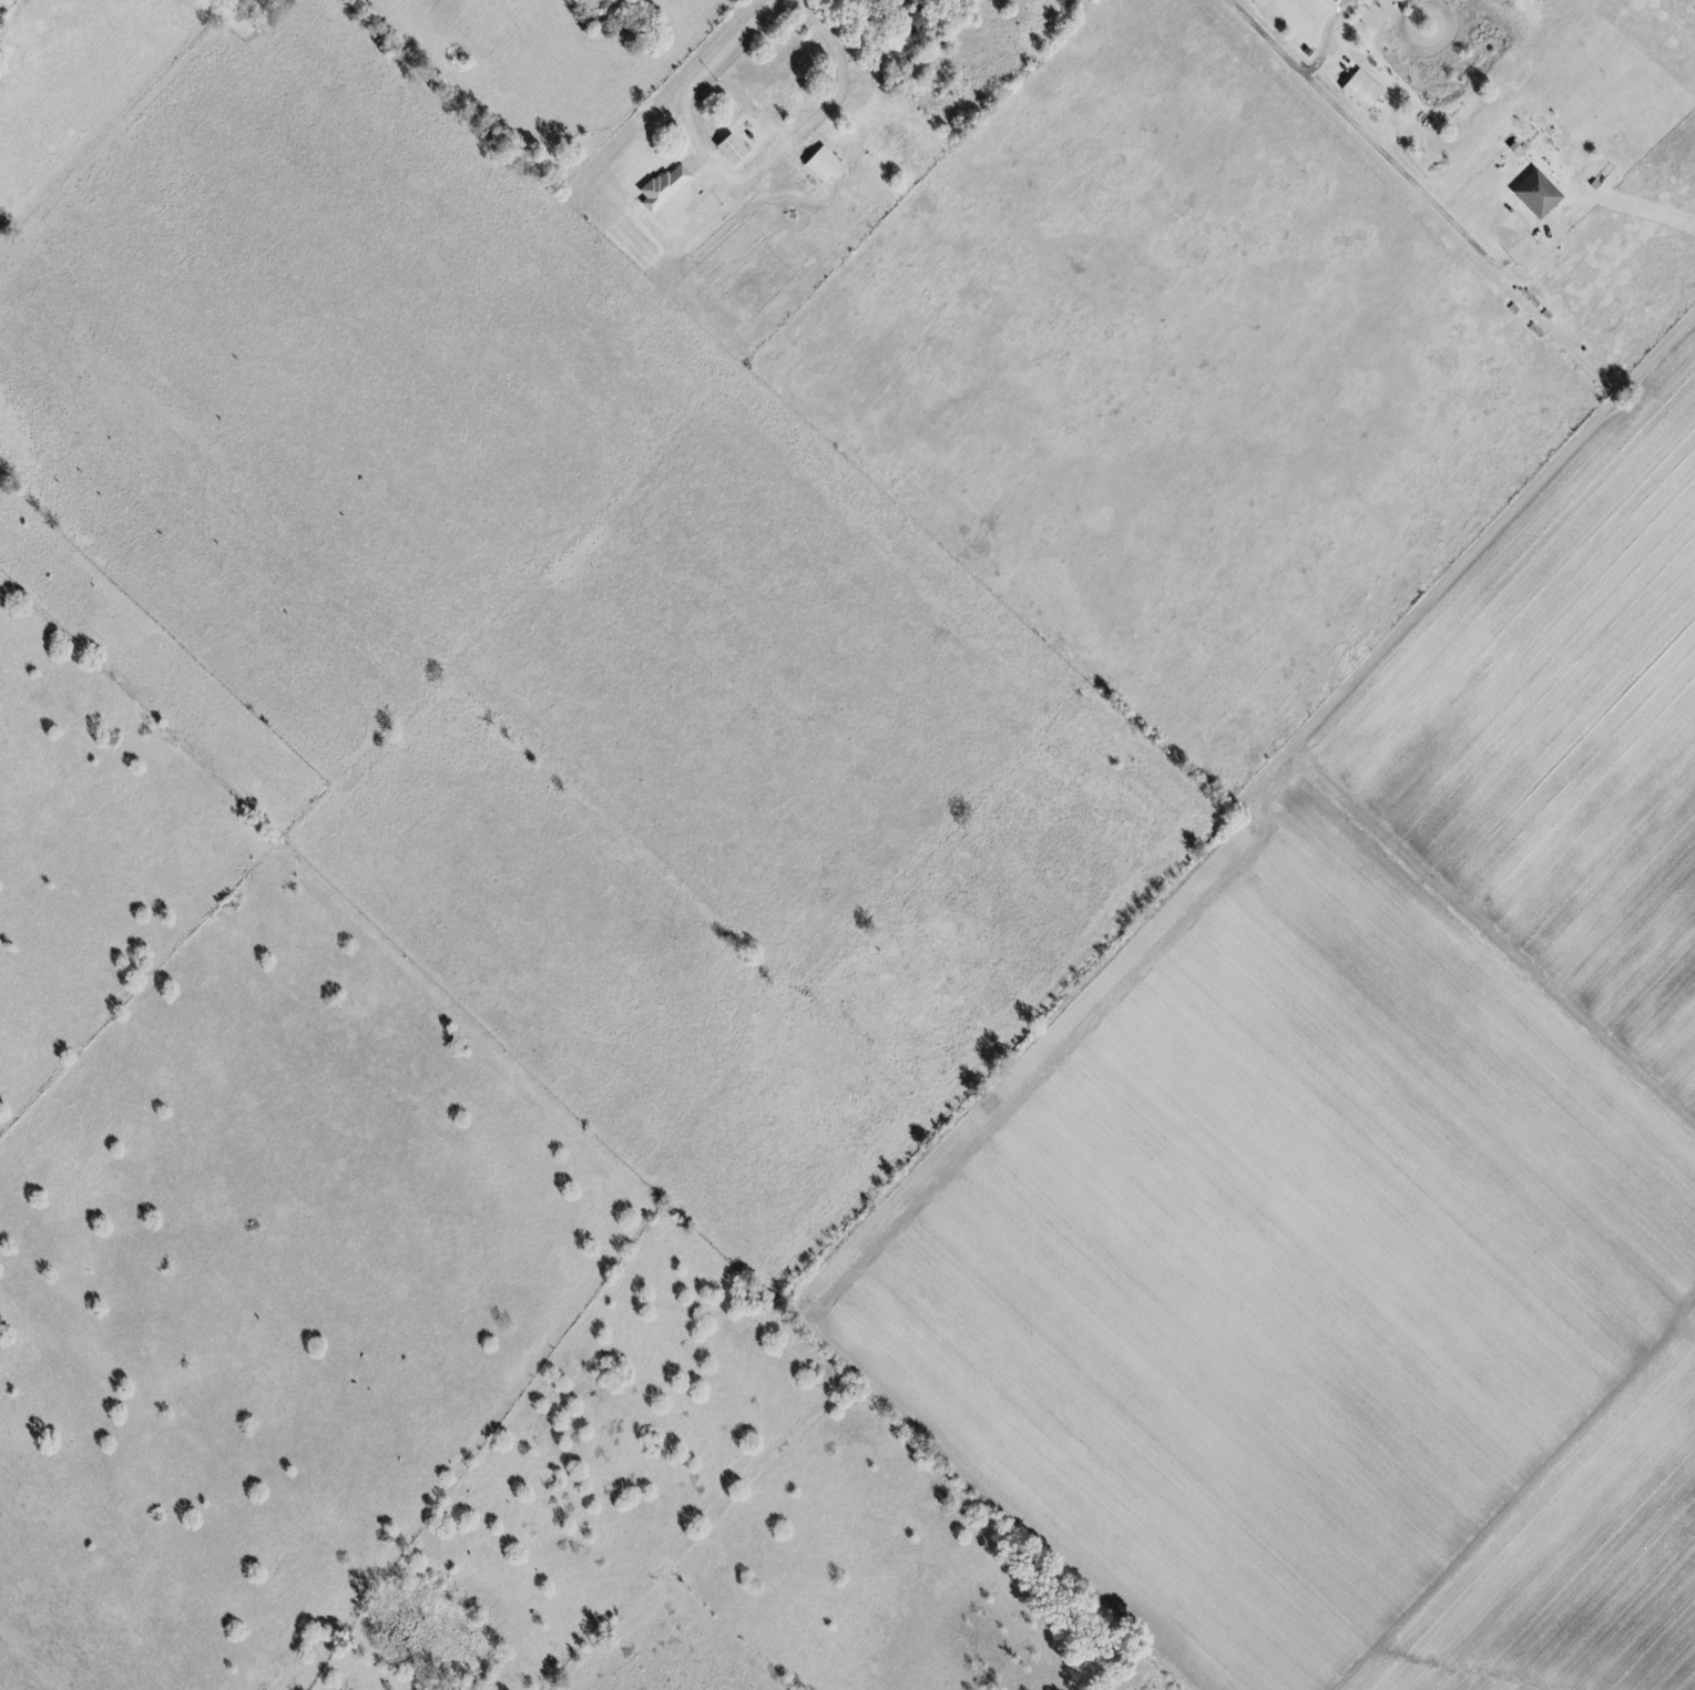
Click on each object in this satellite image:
building: (1330, 3)
building: (909, 23)
road: (703, 75)
building: (1359, 90)
road: (1365, 140)
building: (727, 151)
building: (818, 164)
building: (661, 187)
building: (1534, 195)

